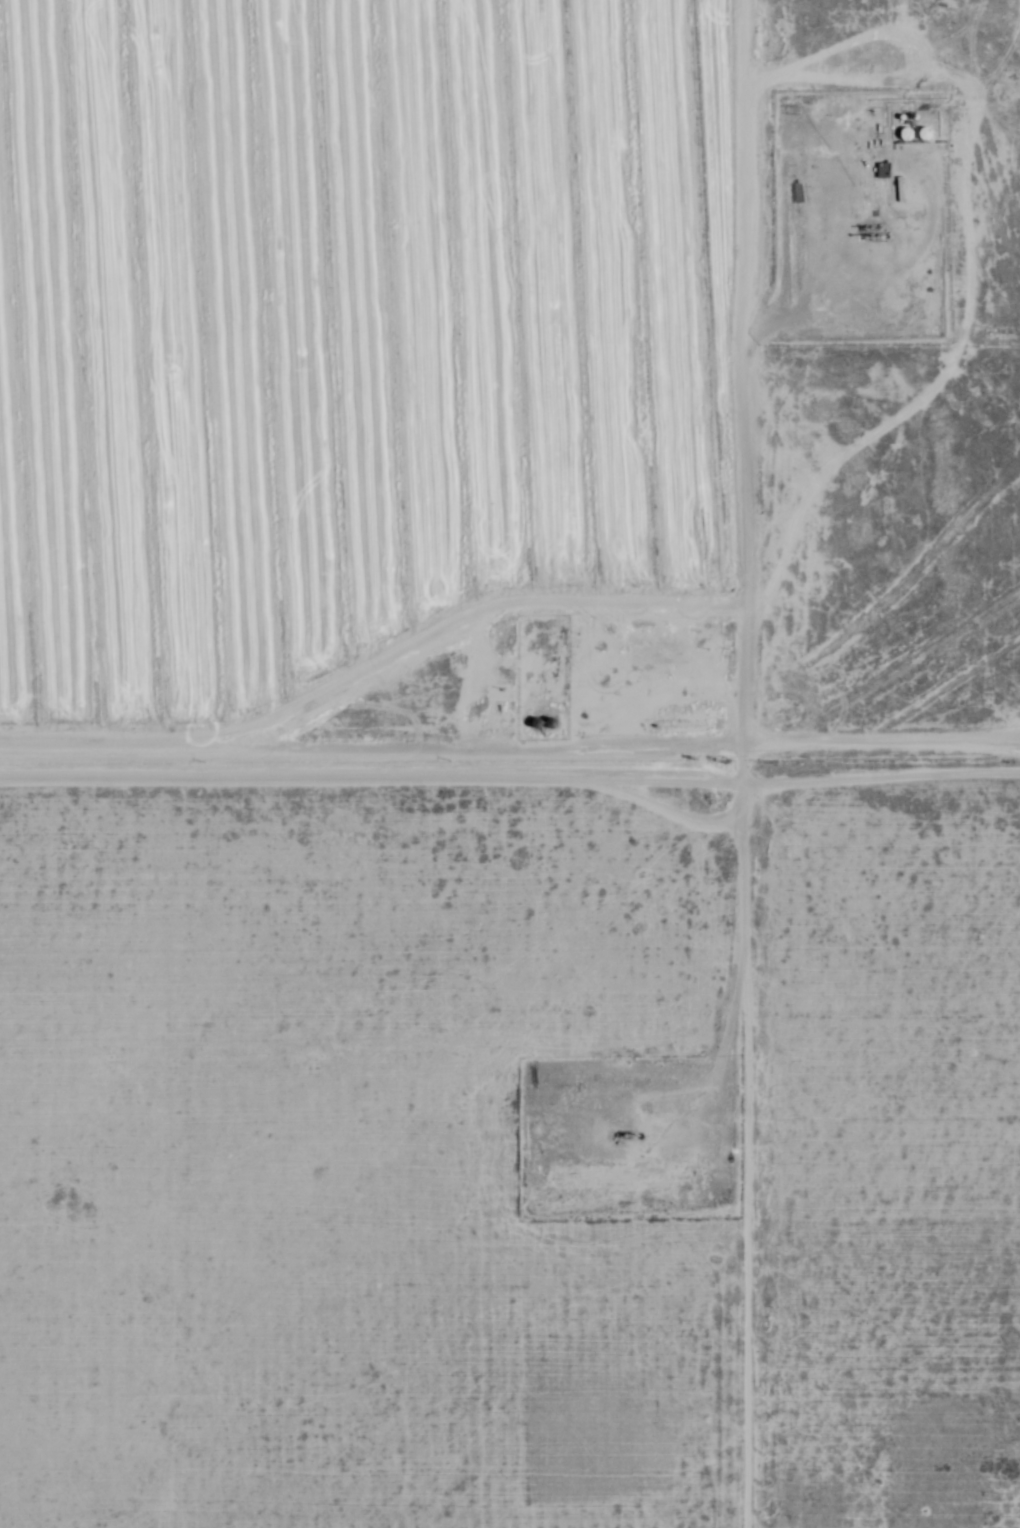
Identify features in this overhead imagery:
road: (878, 356)
road: (741, 763)
road: (509, 782)

